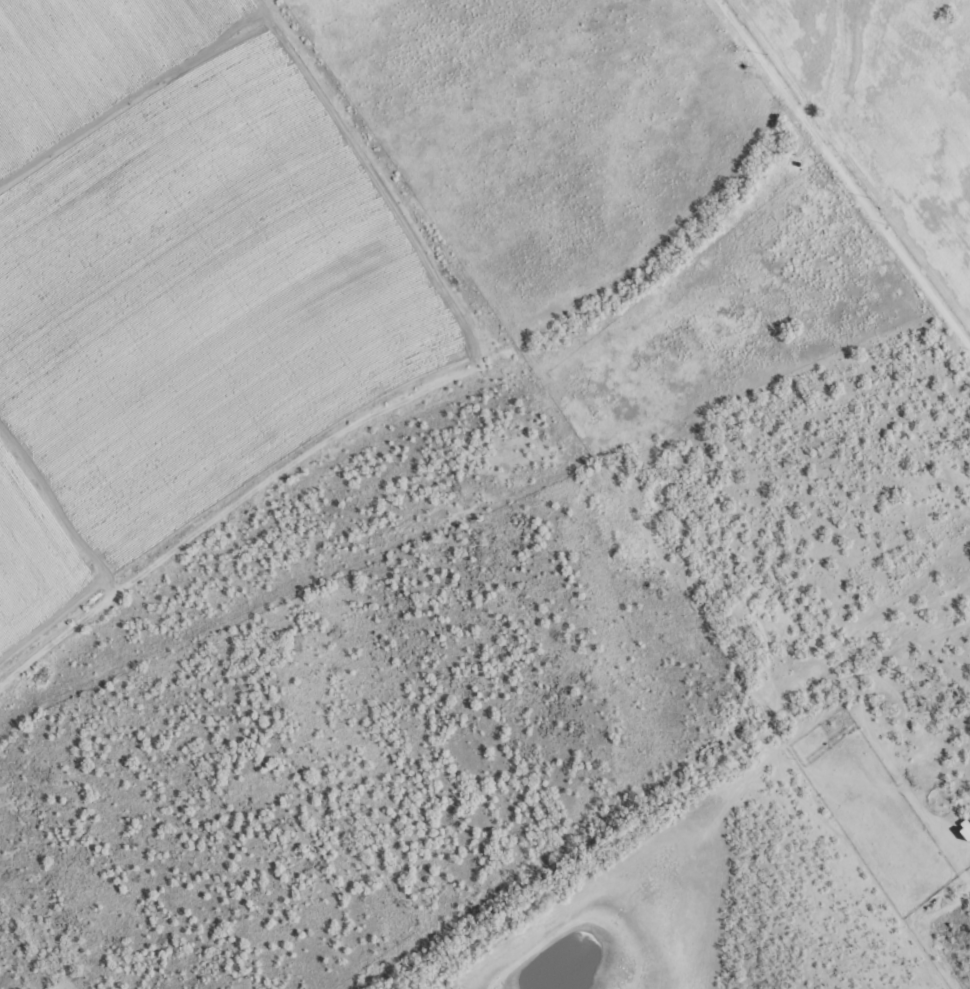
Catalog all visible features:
road: (901, 130)
building: (965, 829)

